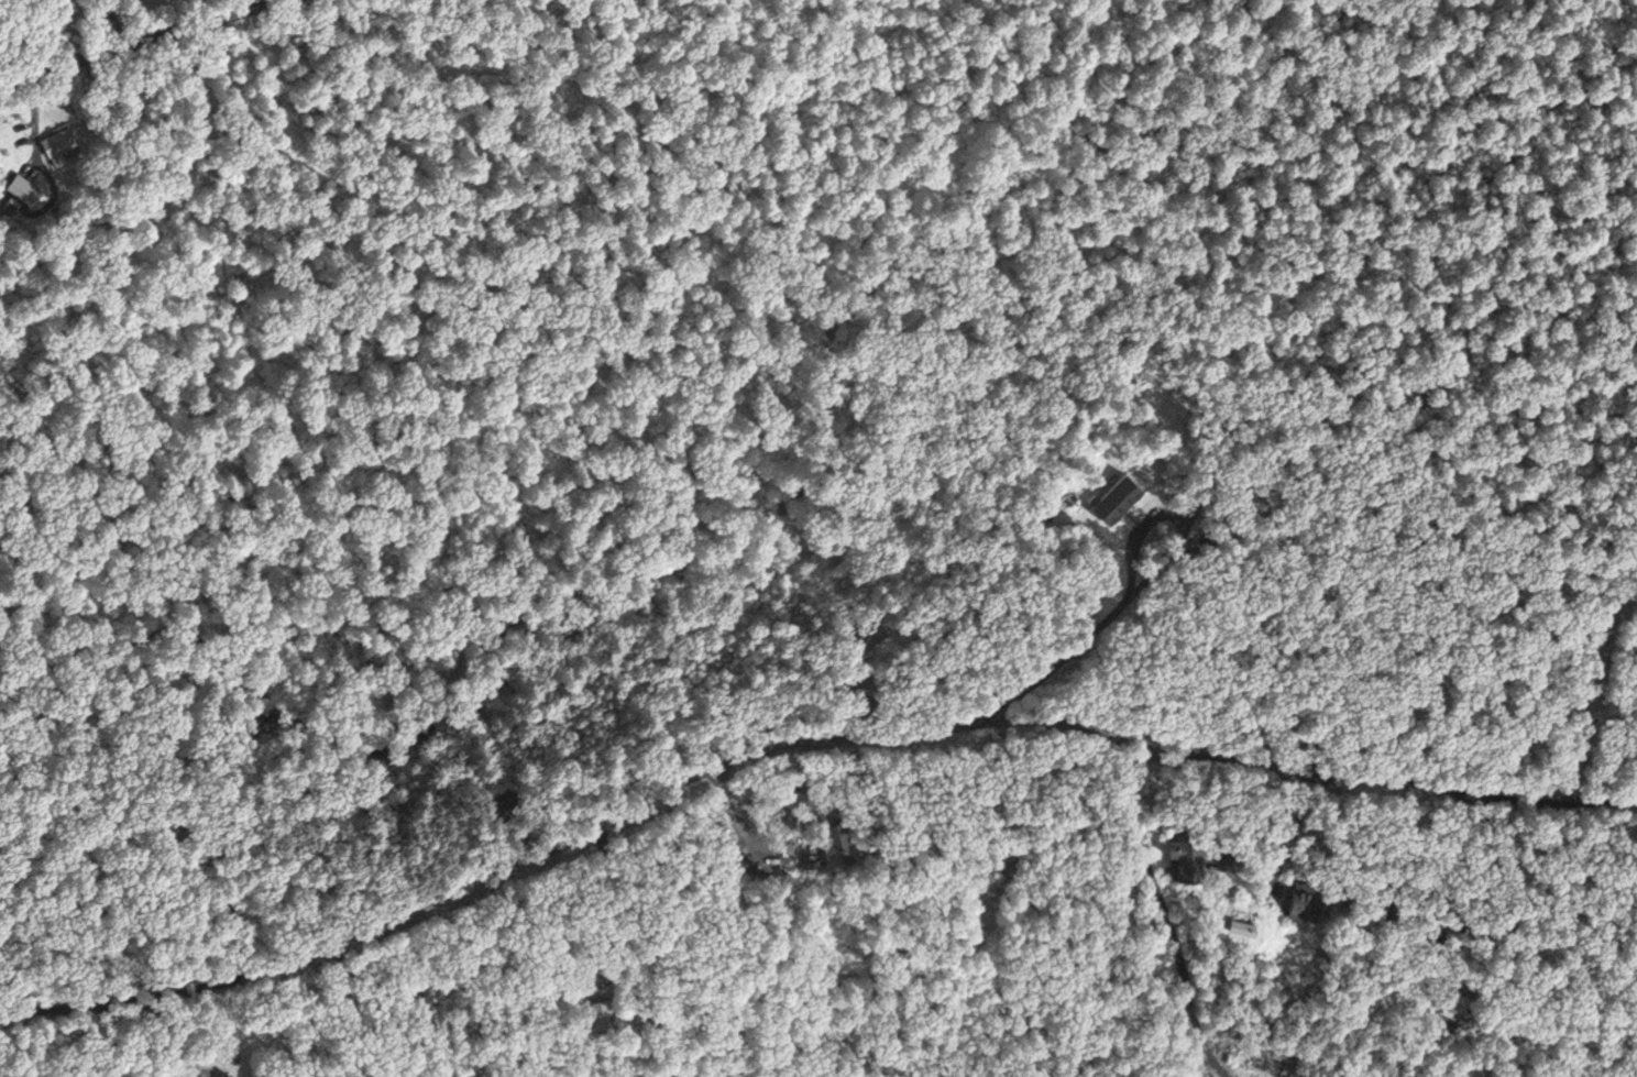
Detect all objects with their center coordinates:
road: (113, 23)
road: (140, 43)
building: (59, 147)
building: (21, 188)
building: (1117, 499)
road: (1059, 662)
road: (798, 746)
road: (1425, 880)
road: (221, 902)
road: (596, 906)
building: (1303, 909)
road: (1166, 916)
building: (1458, 1004)
building: (597, 1012)

